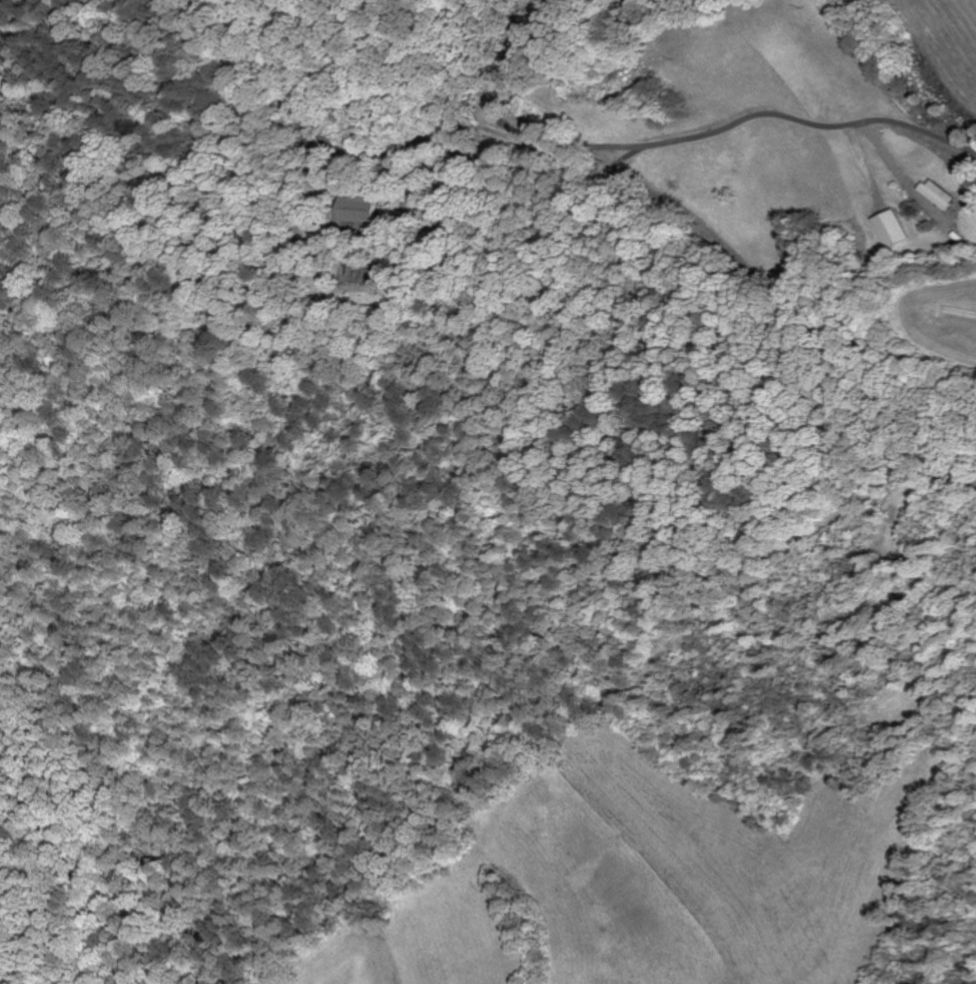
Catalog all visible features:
road: (611, 169)
building: (937, 194)
building: (416, 206)
building: (363, 213)
building: (894, 228)

